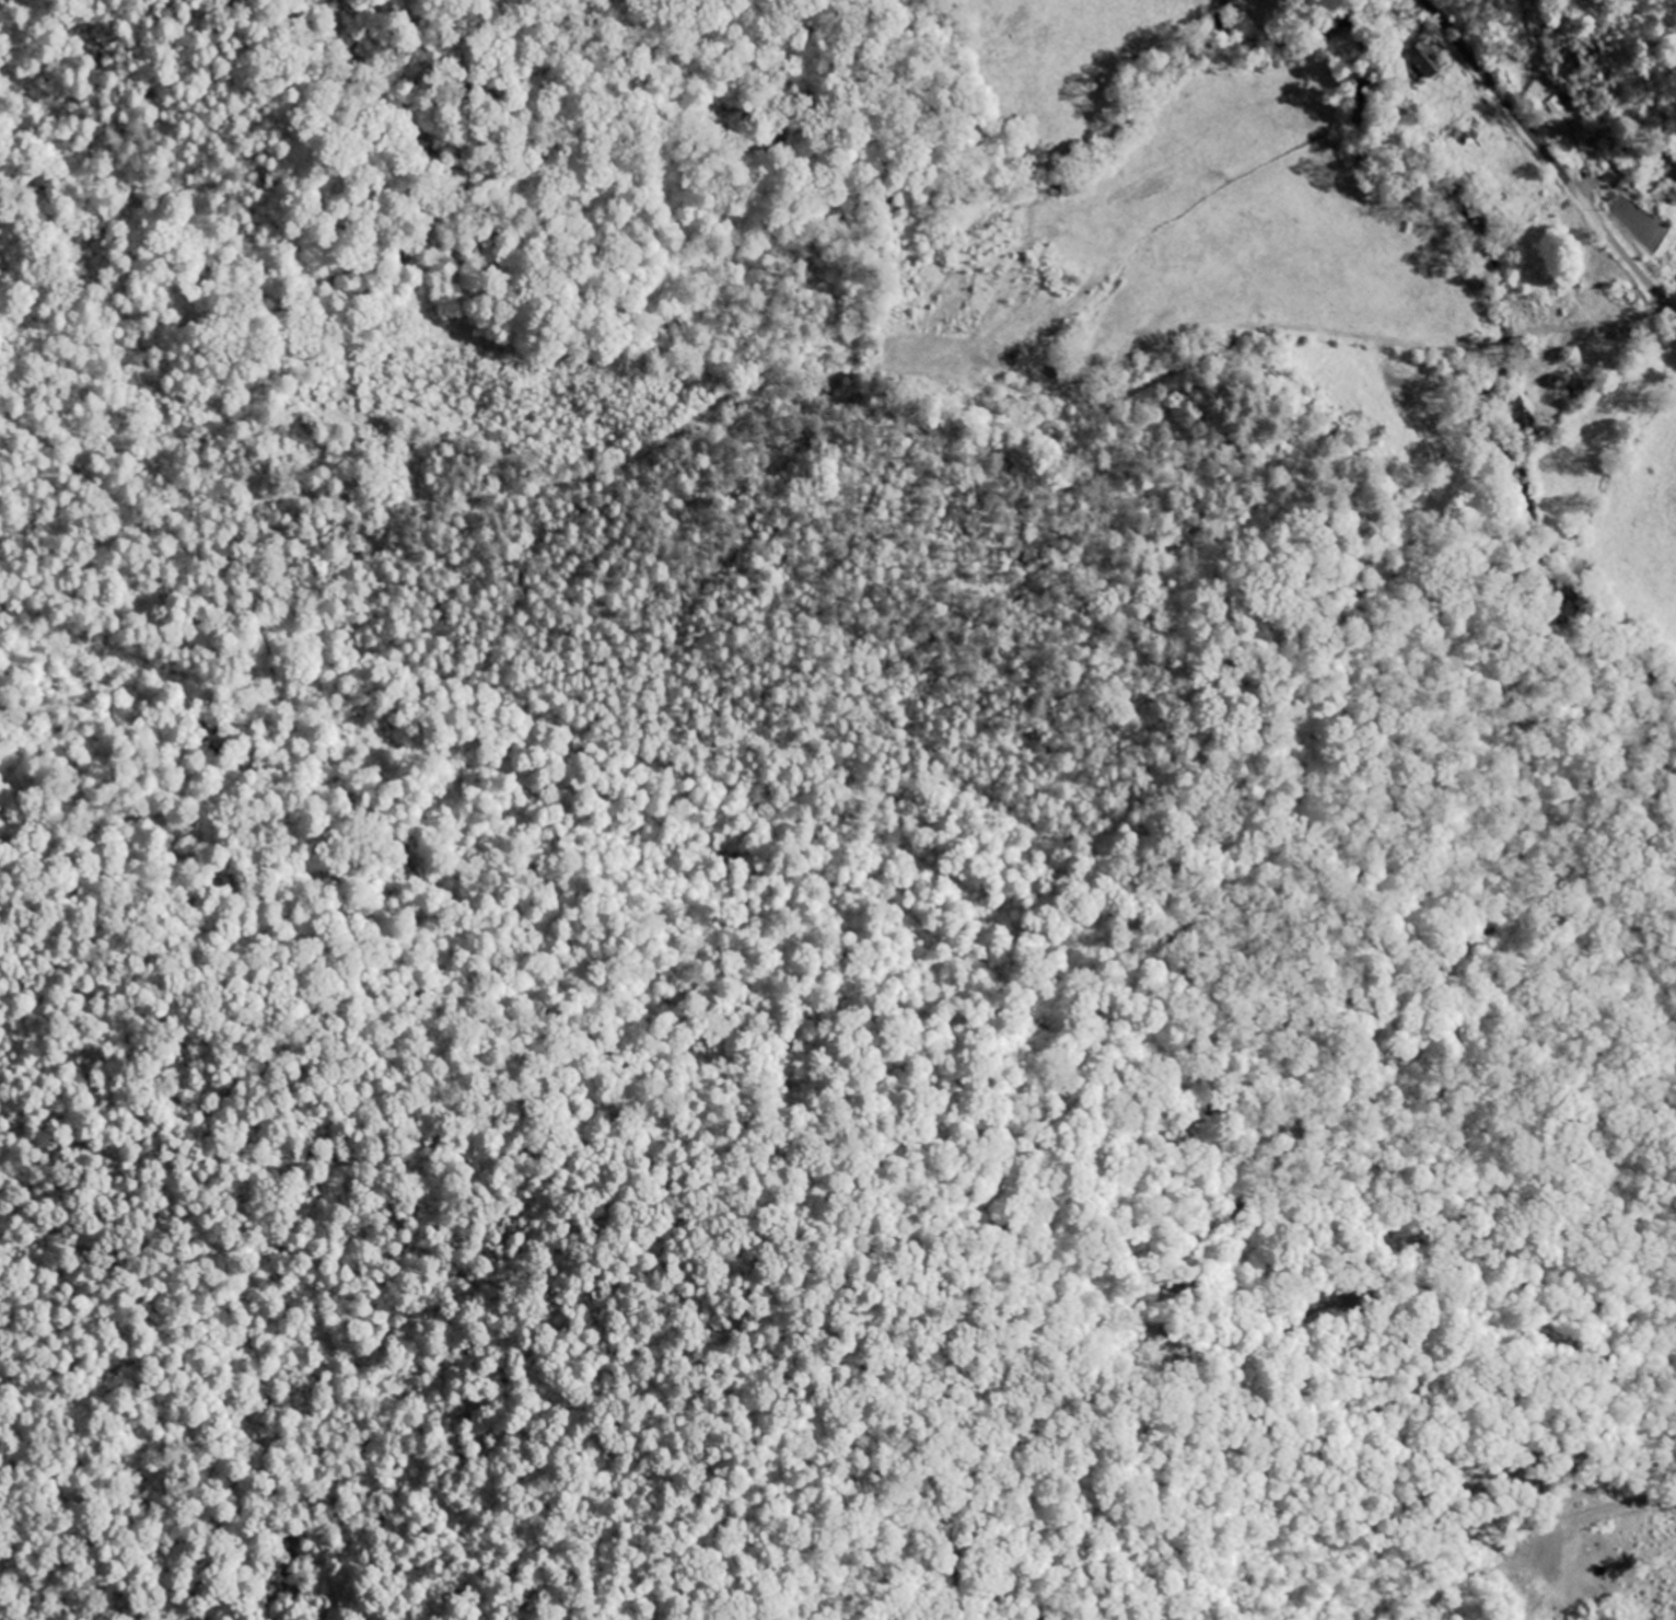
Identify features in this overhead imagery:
road: (1547, 155)

